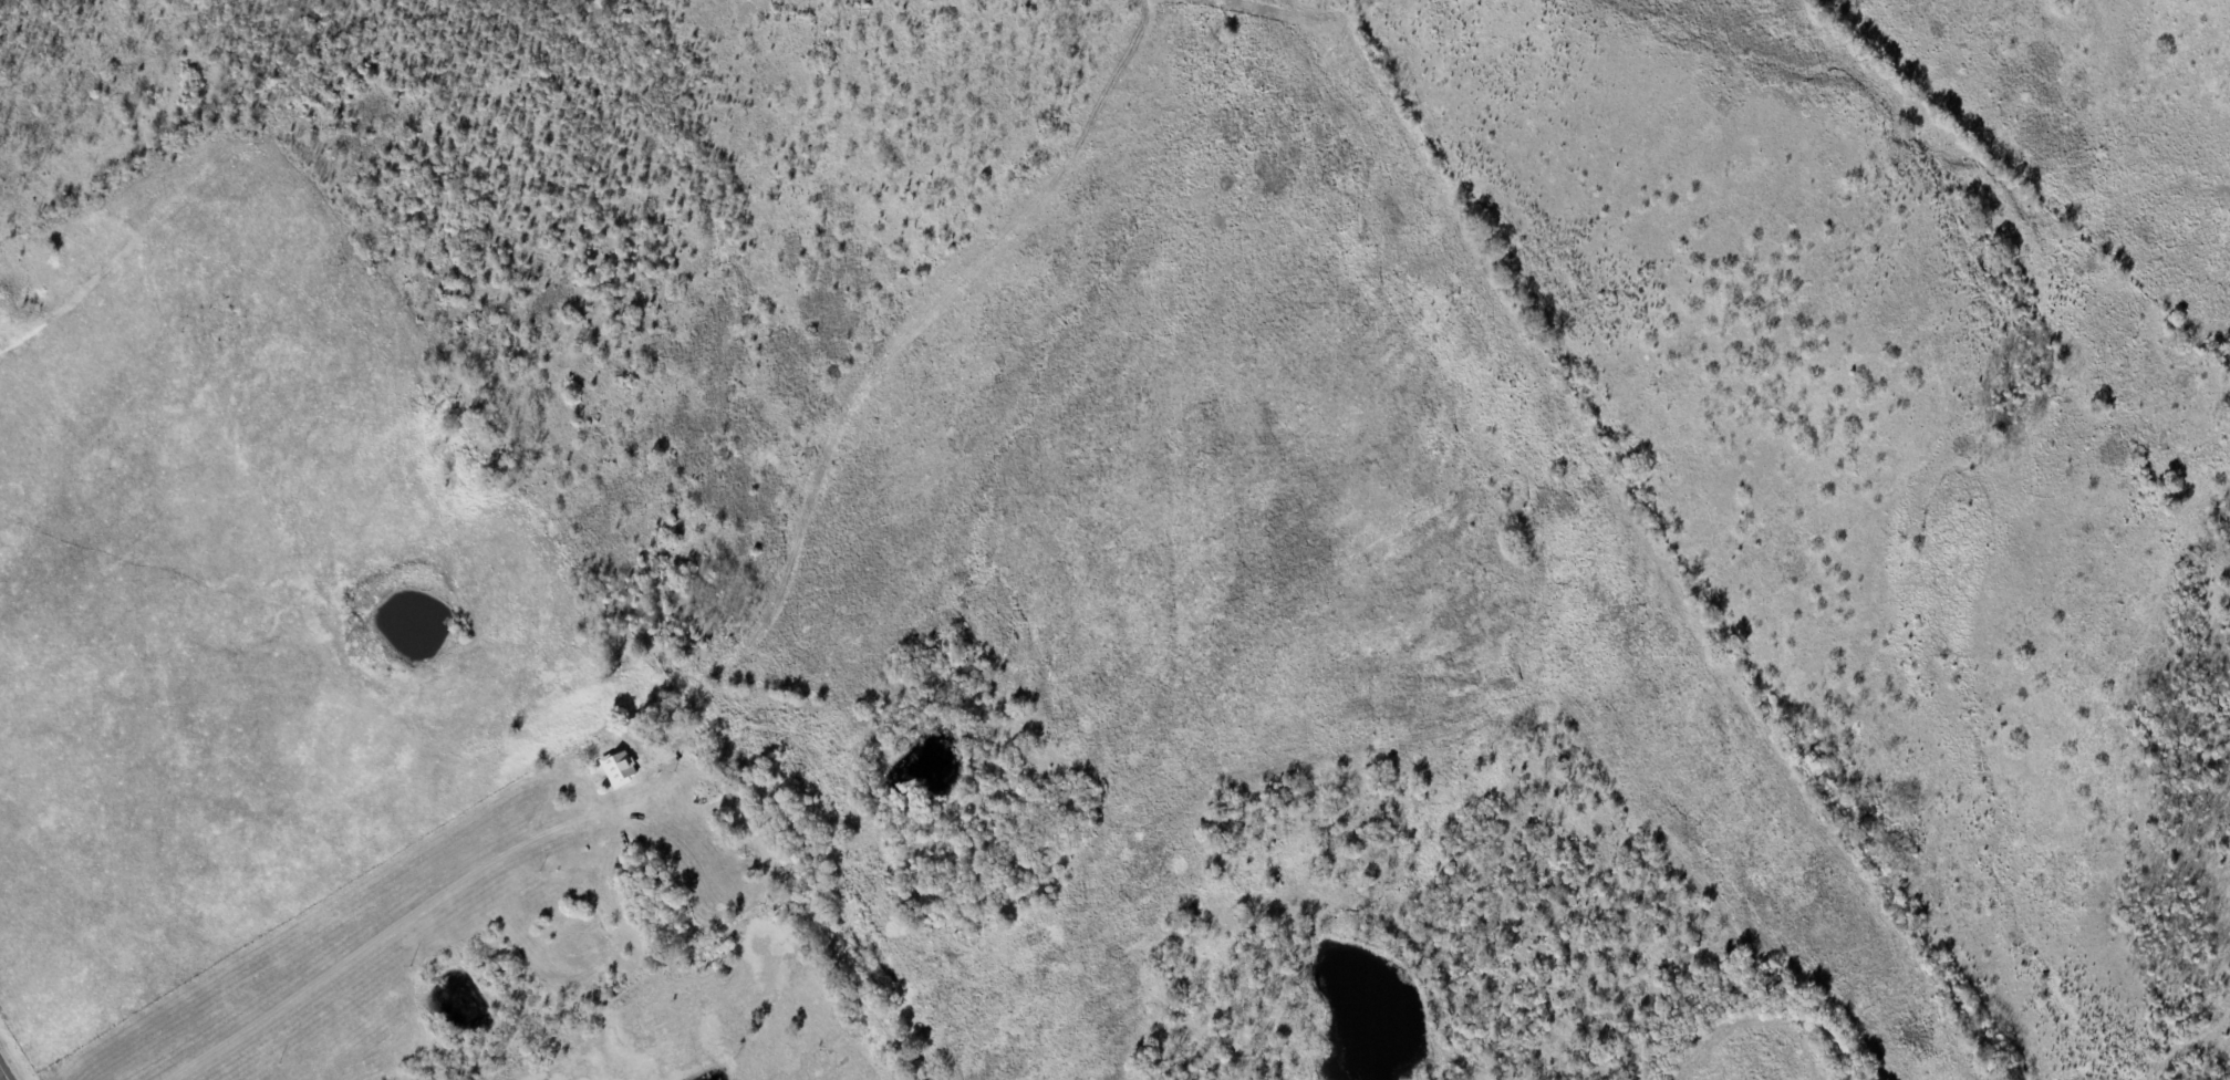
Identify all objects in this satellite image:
road: (20, 751)
building: (624, 770)
road: (348, 942)
road: (0, 1078)

